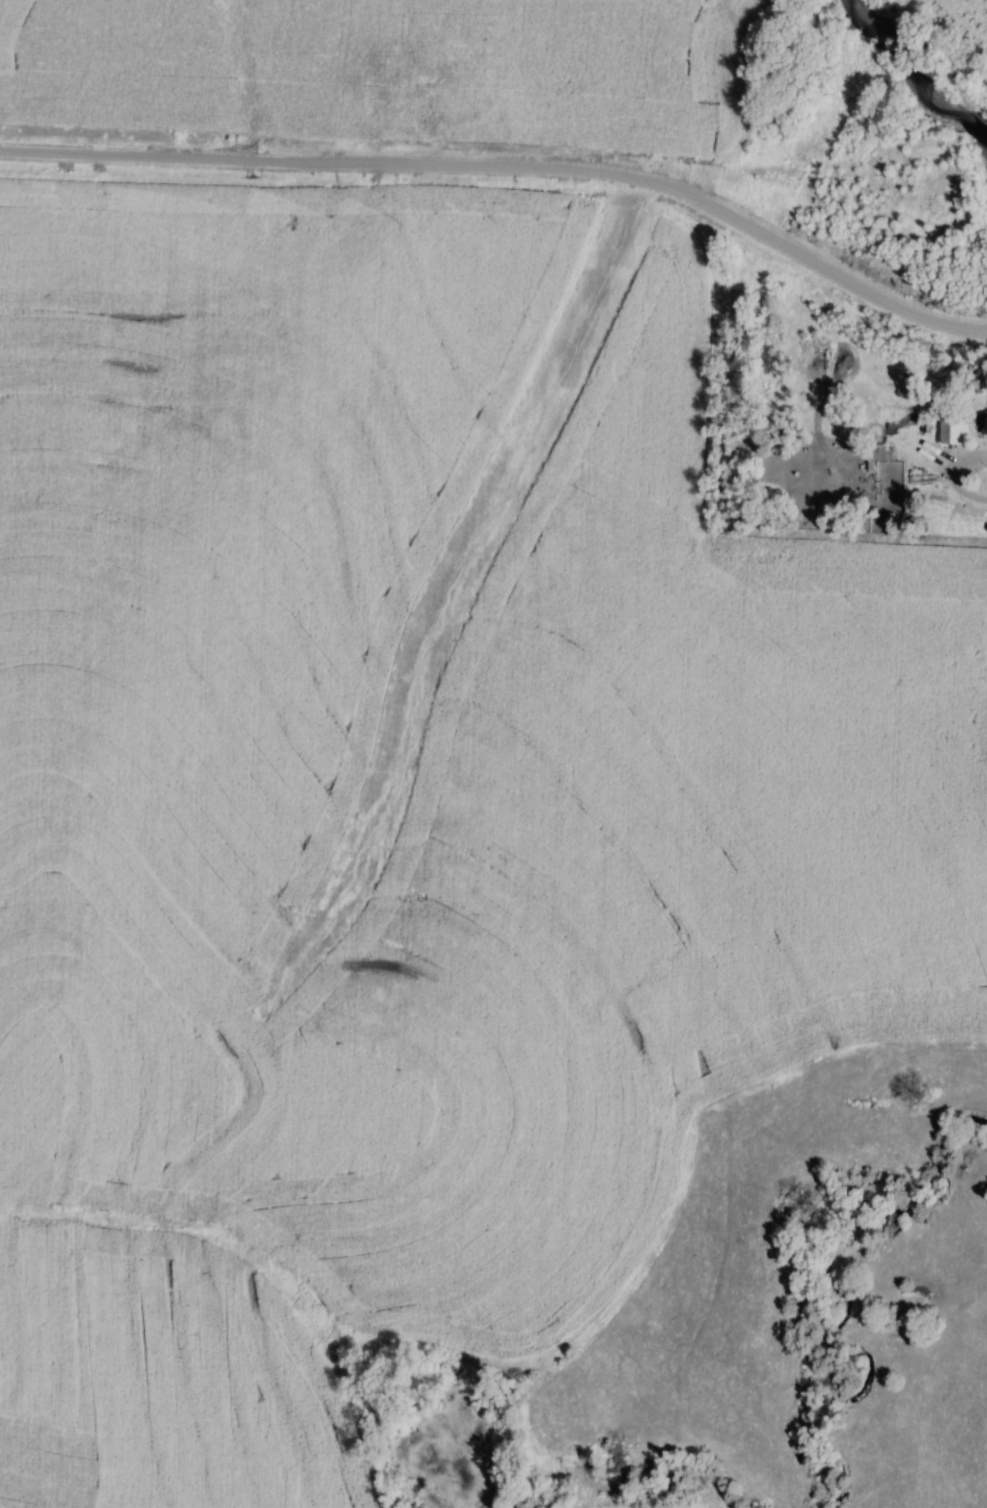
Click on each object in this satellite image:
road: (509, 169)
building: (982, 421)
building: (948, 429)

